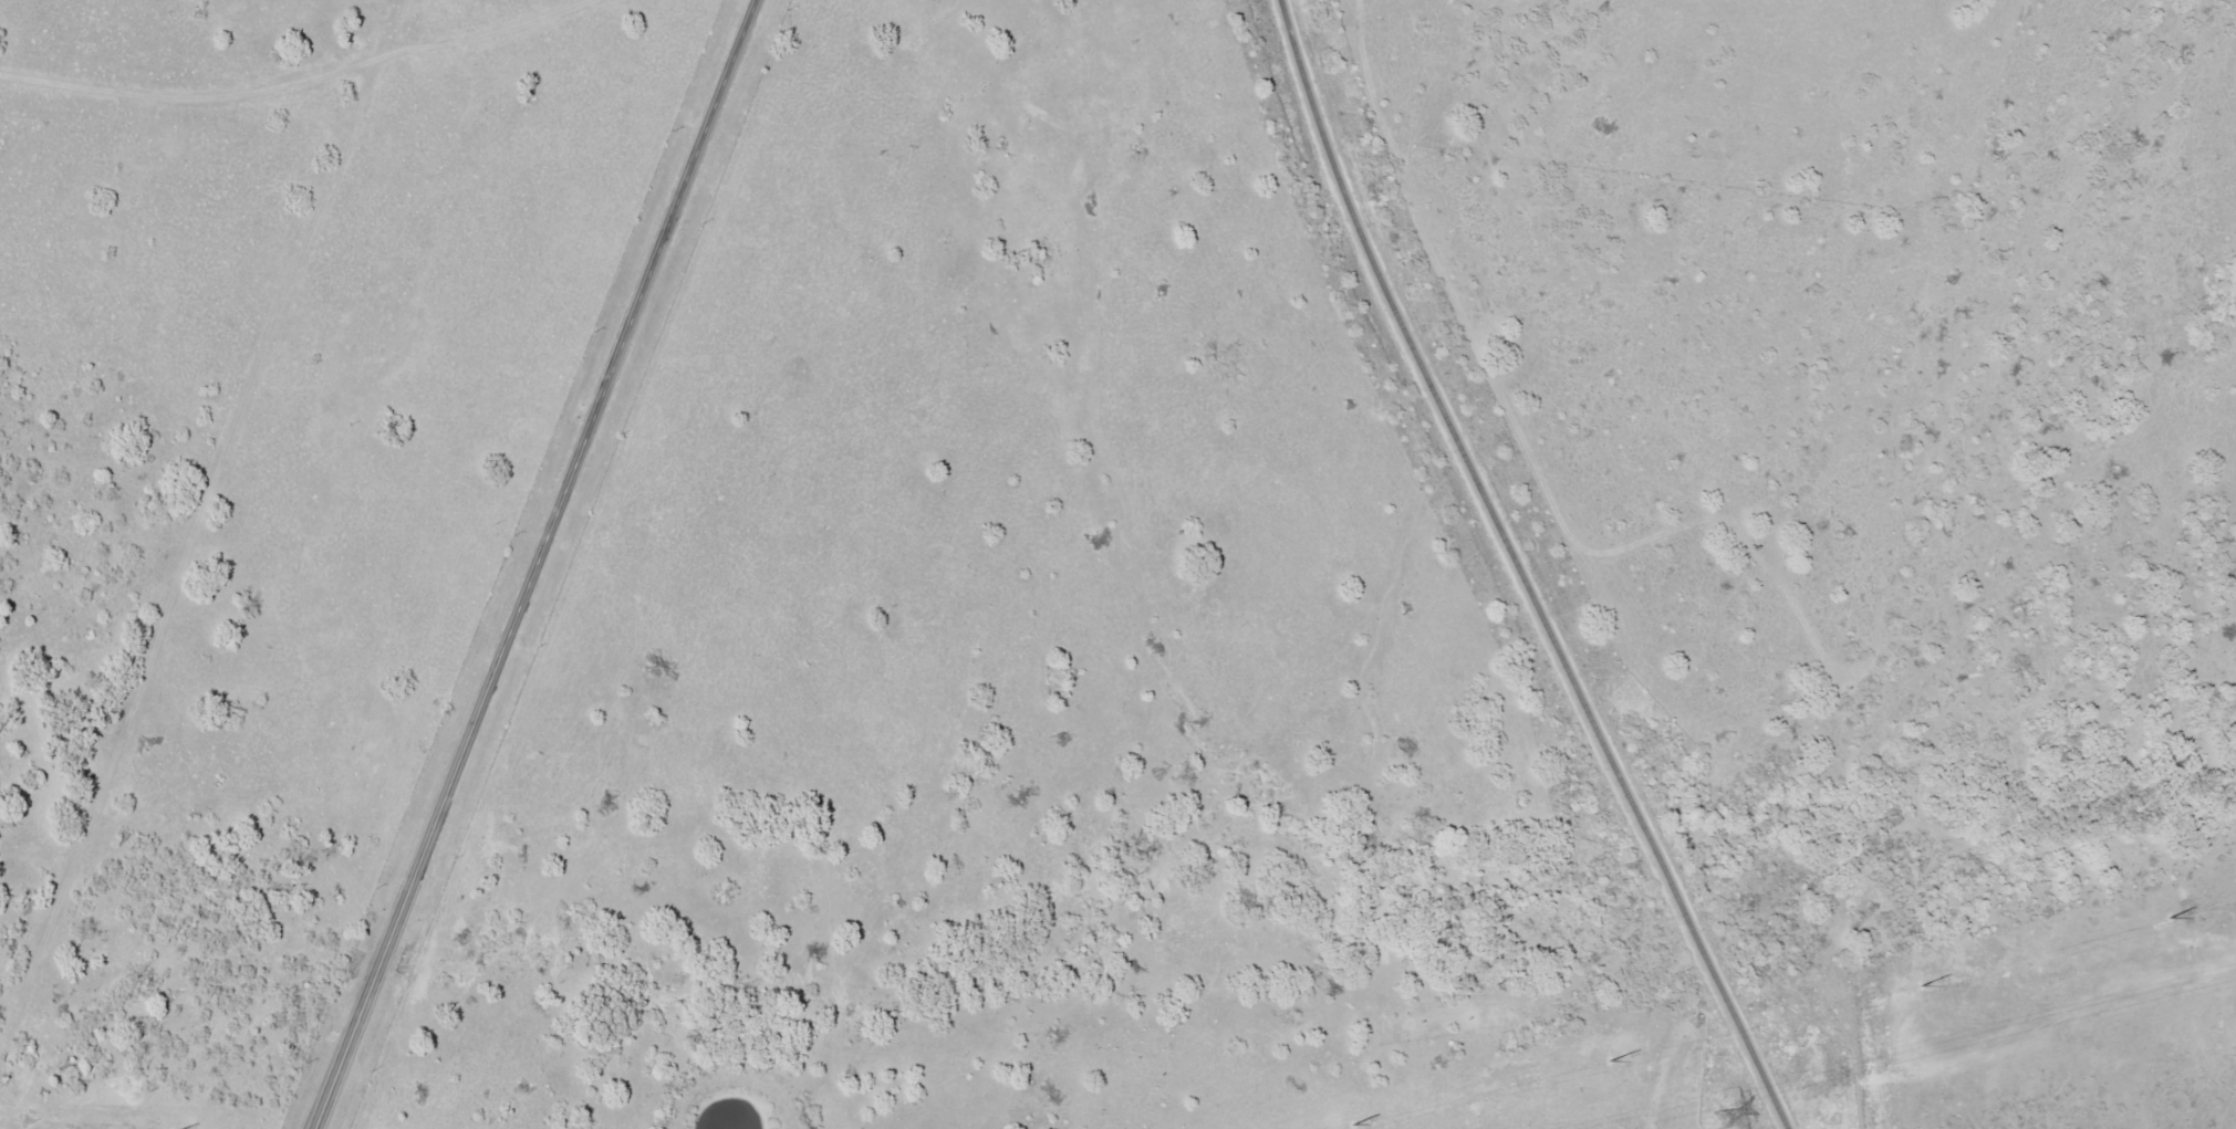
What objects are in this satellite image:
road: (539, 564)
railway: (1519, 569)
power tower: (1719, 1121)

